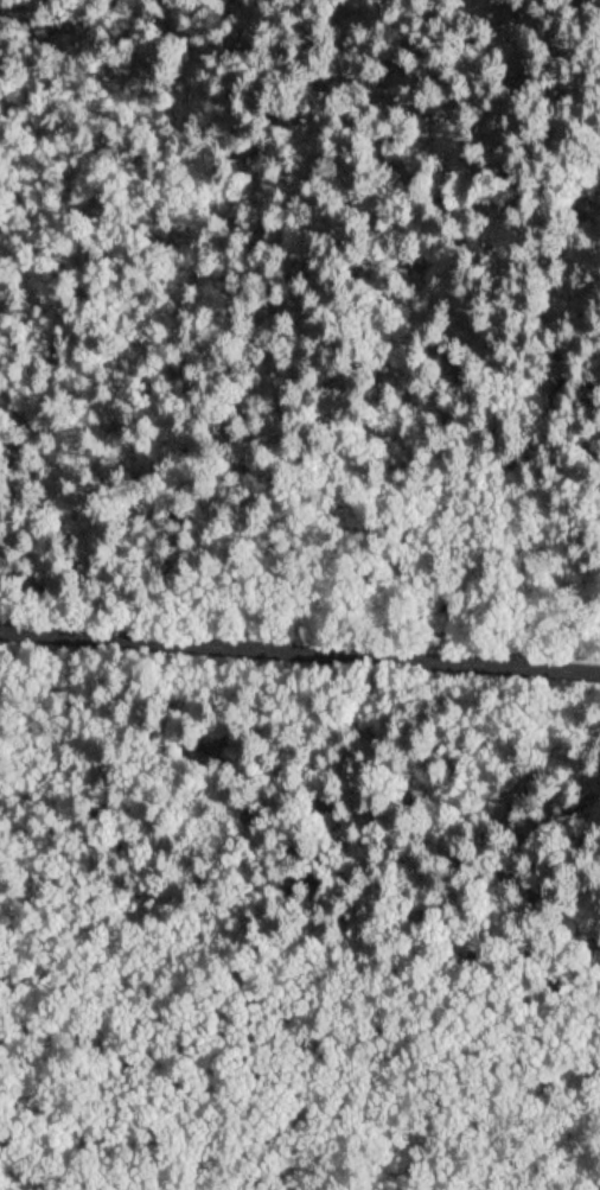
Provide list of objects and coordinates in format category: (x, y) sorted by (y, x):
road: (300, 651)
road: (120, 1169)

